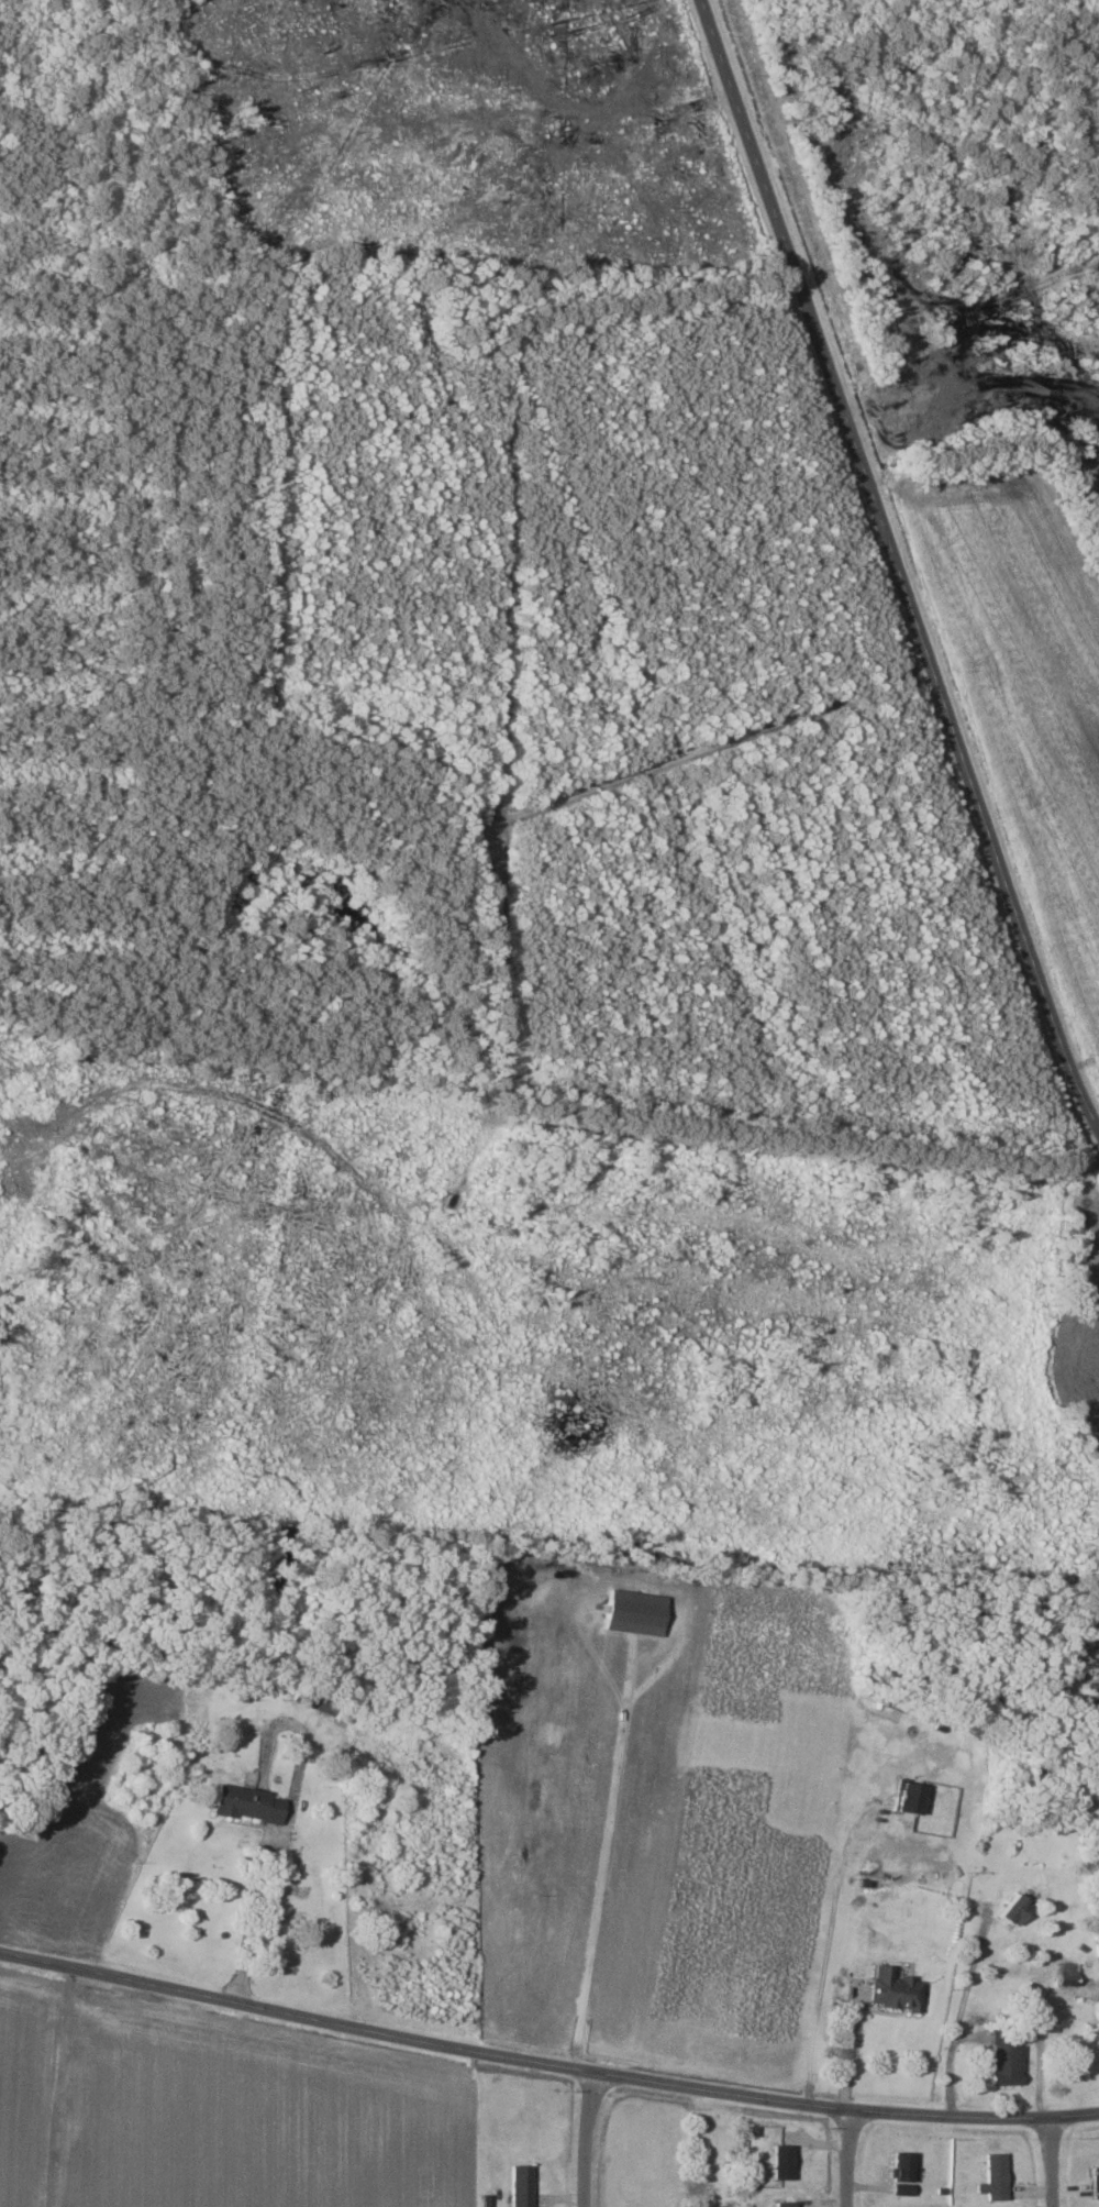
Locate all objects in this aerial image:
road: (890, 580)
building: (906, 1798)
building: (247, 1805)
road: (286, 1825)
building: (1013, 1911)
road: (826, 1945)
building: (1065, 1974)
building: (893, 1989)
road: (961, 2015)
road: (851, 2046)
building: (1003, 2054)
road: (545, 2062)
road: (586, 2139)
road: (848, 2159)
building: (782, 2160)
road: (1051, 2162)
building: (900, 2171)
building: (996, 2176)
building: (1096, 2180)
building: (520, 2185)
building: (784, 2204)

